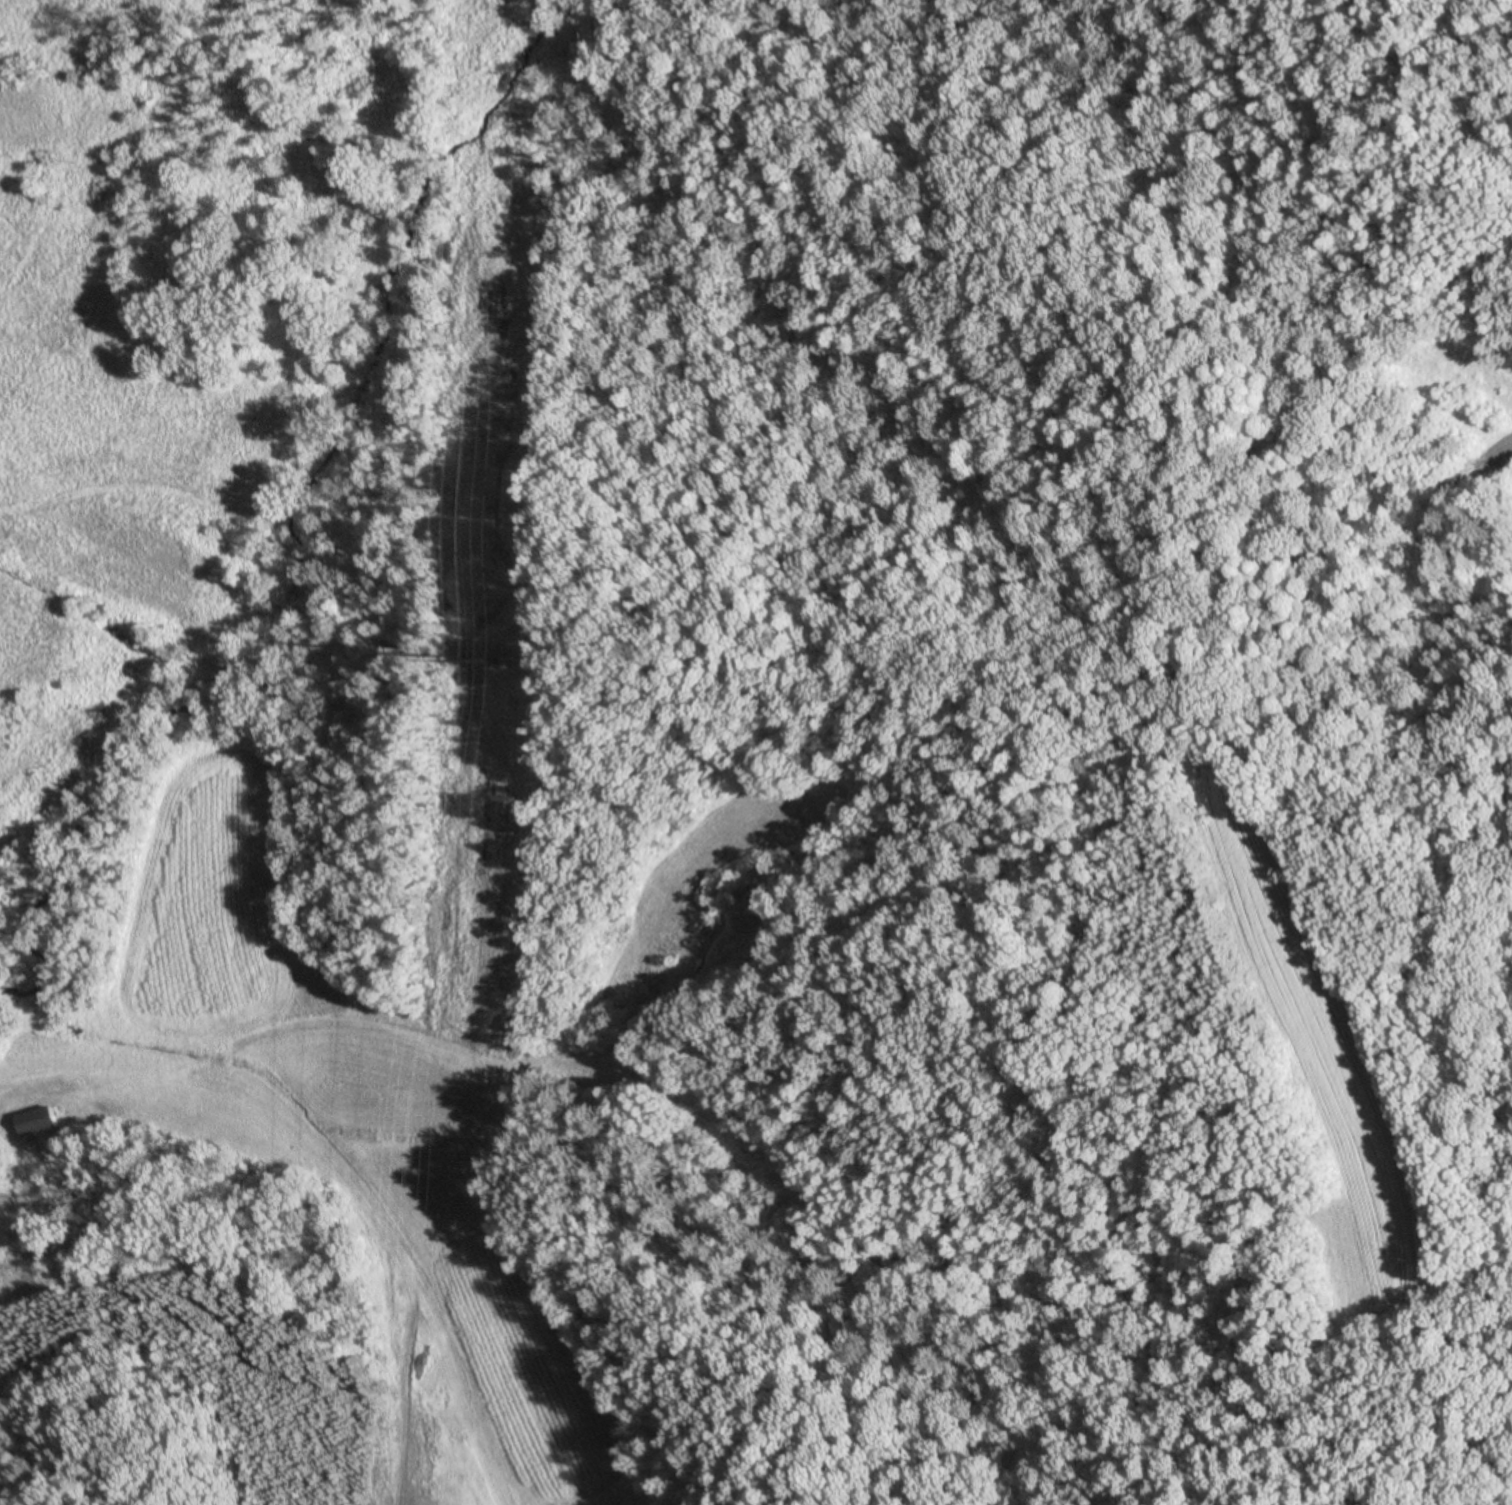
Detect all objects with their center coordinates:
power tower: (500, 659)
building: (35, 1120)
road: (8, 1131)

